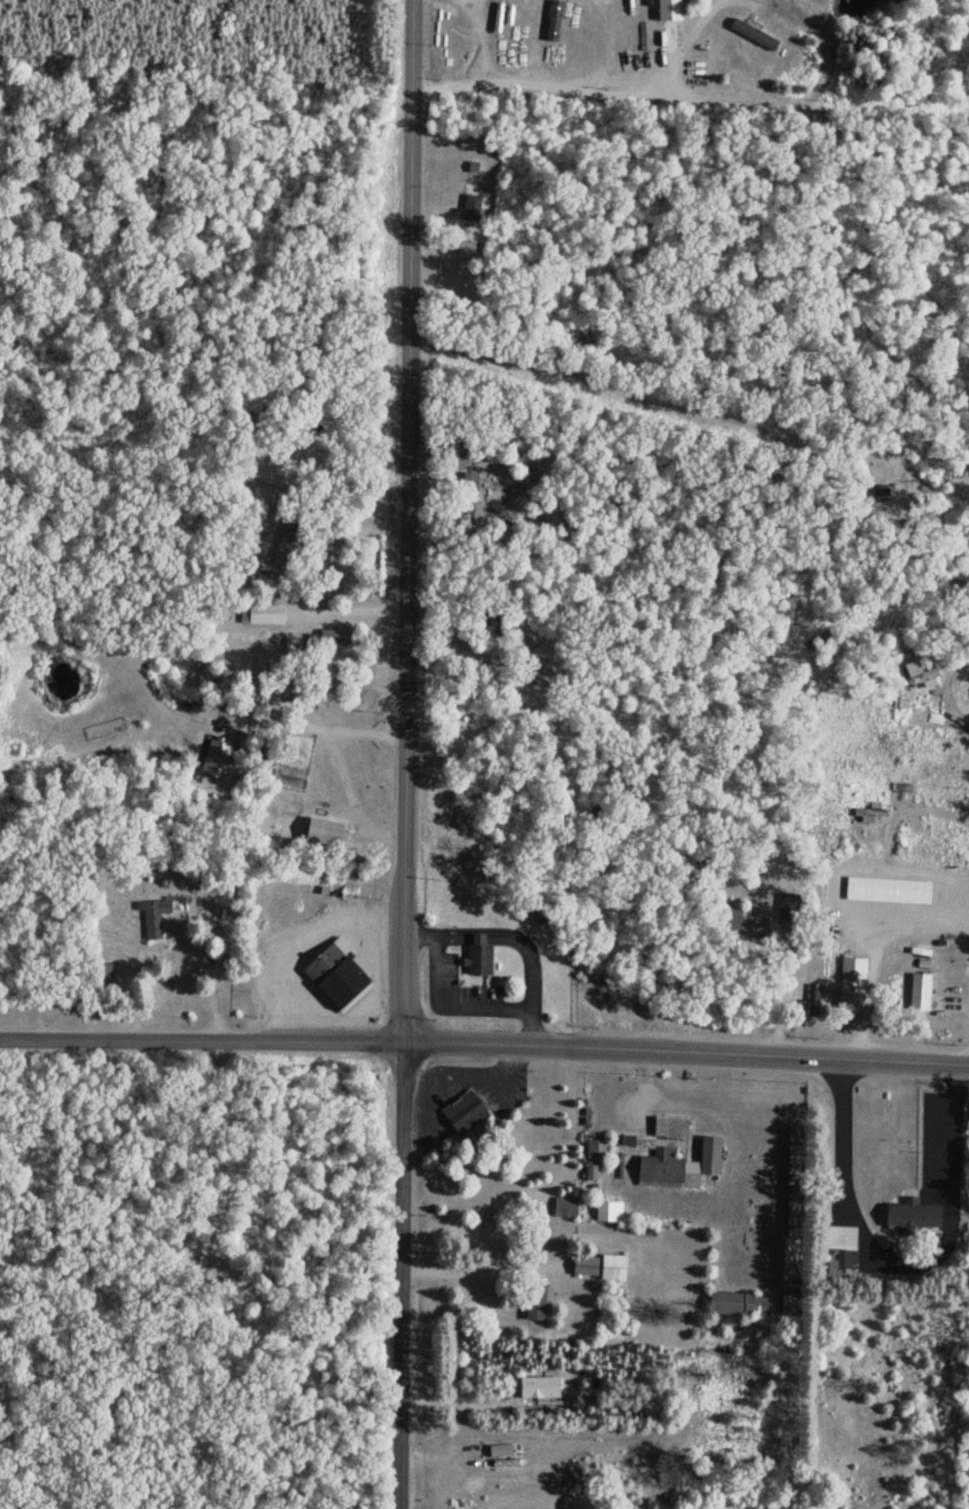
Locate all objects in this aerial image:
building: (666, 8)
building: (553, 19)
building: (752, 32)
road: (690, 97)
building: (470, 204)
building: (262, 412)
building: (470, 497)
road: (408, 520)
building: (261, 611)
building: (489, 621)
building: (529, 658)
building: (921, 671)
building: (215, 753)
building: (321, 829)
building: (786, 905)
building: (153, 914)
building: (744, 918)
building: (477, 954)
building: (100, 973)
building: (337, 974)
building: (851, 984)
building: (919, 989)
road: (484, 1043)
building: (464, 1111)
building: (794, 1142)
building: (673, 1152)
building: (593, 1155)
building: (564, 1205)
building: (608, 1209)
building: (909, 1214)
building: (791, 1238)
building: (840, 1262)
building: (598, 1264)
road: (403, 1275)
building: (534, 1299)
building: (738, 1301)
building: (538, 1385)

